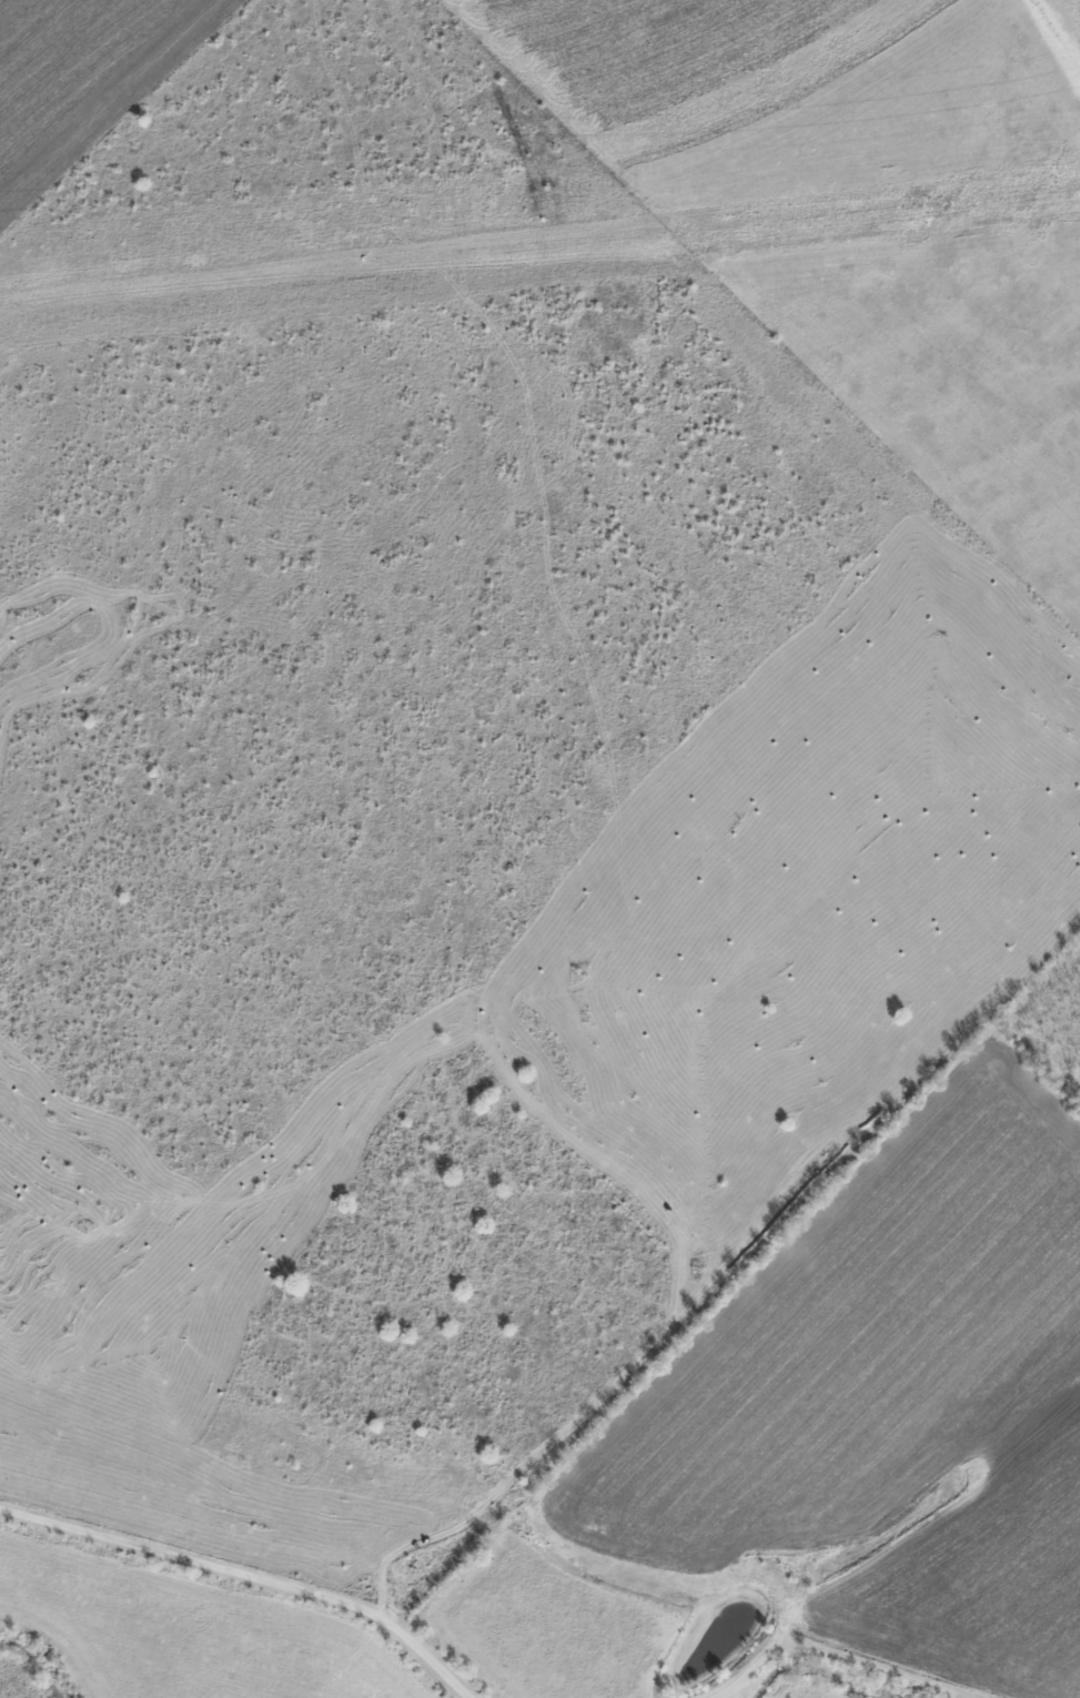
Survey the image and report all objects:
power tower: (545, 199)
road: (248, 1575)

